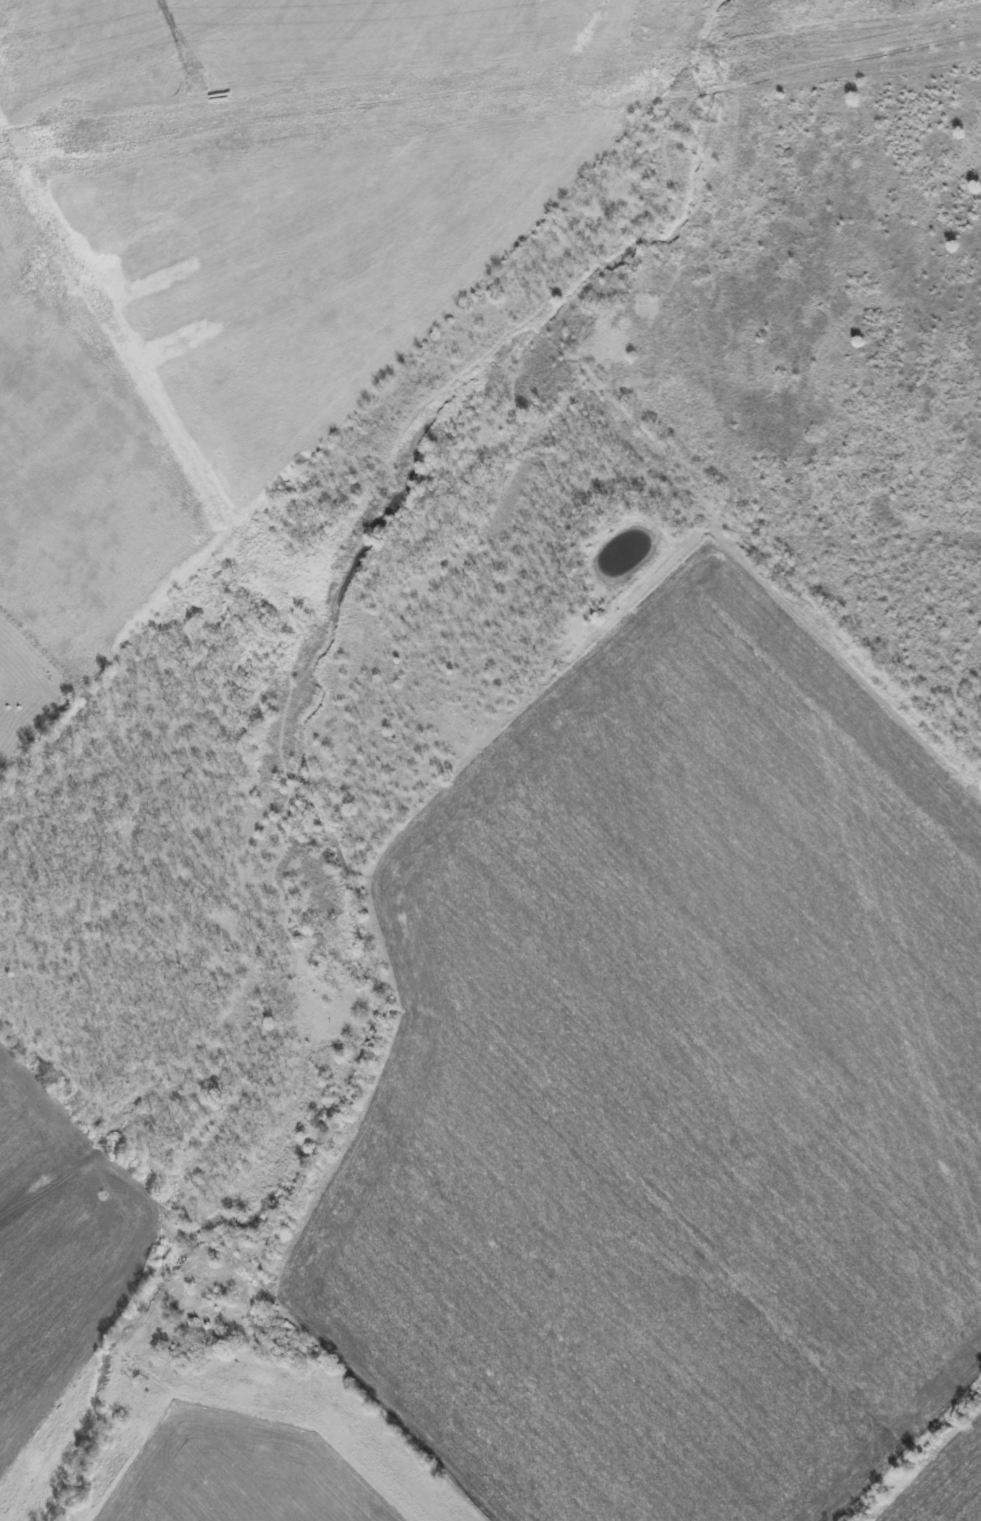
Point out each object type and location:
power tower: (197, 79)

